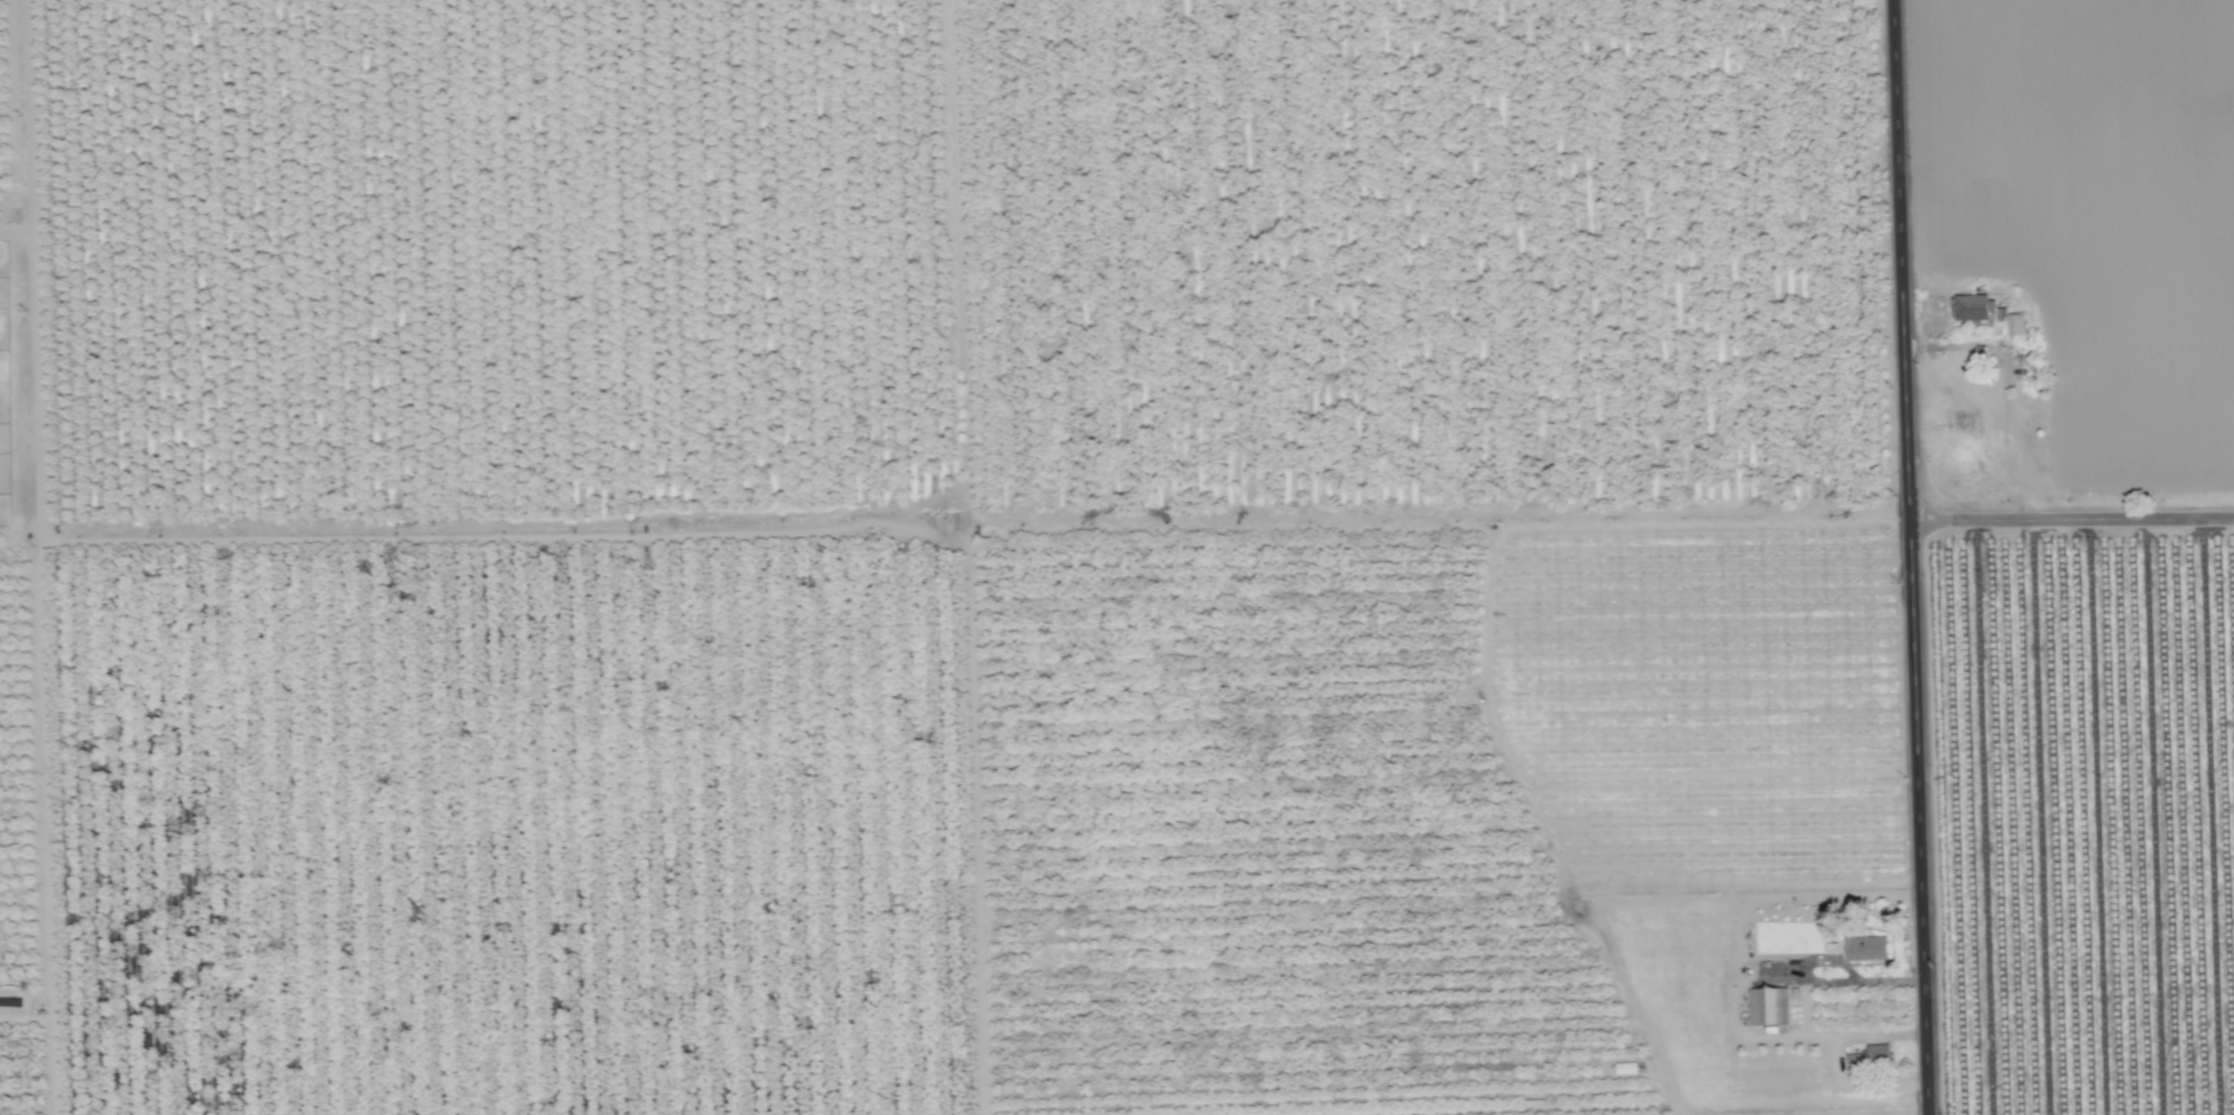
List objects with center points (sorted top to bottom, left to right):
building: (1984, 315)
road: (2071, 521)
road: (1908, 557)
road: (1541, 852)
building: (1863, 950)
building: (1767, 1009)
road: (1735, 1011)
building: (1853, 1067)
road: (1861, 1088)

